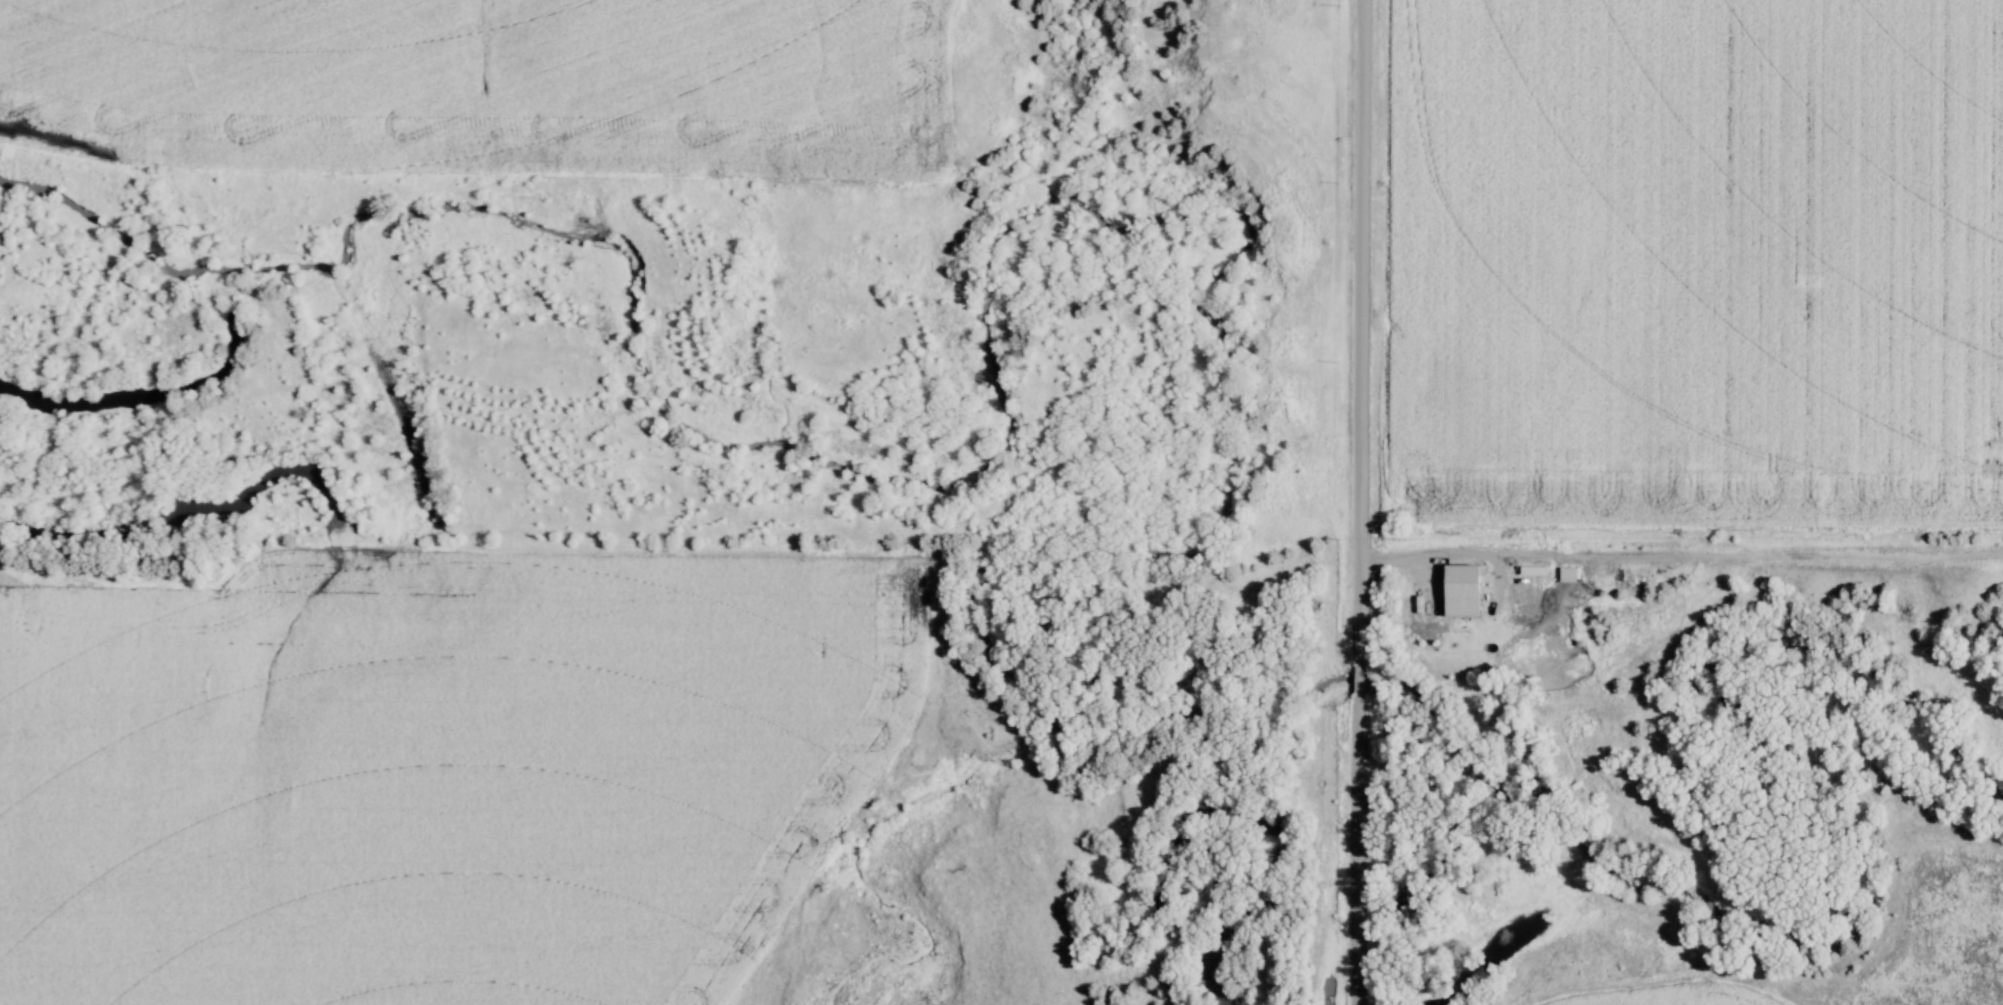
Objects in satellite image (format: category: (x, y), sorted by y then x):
river: (1233, 261)
river: (232, 327)
road: (1365, 332)
building: (1547, 590)
building: (1465, 596)
road: (1360, 679)
road: (1363, 849)

